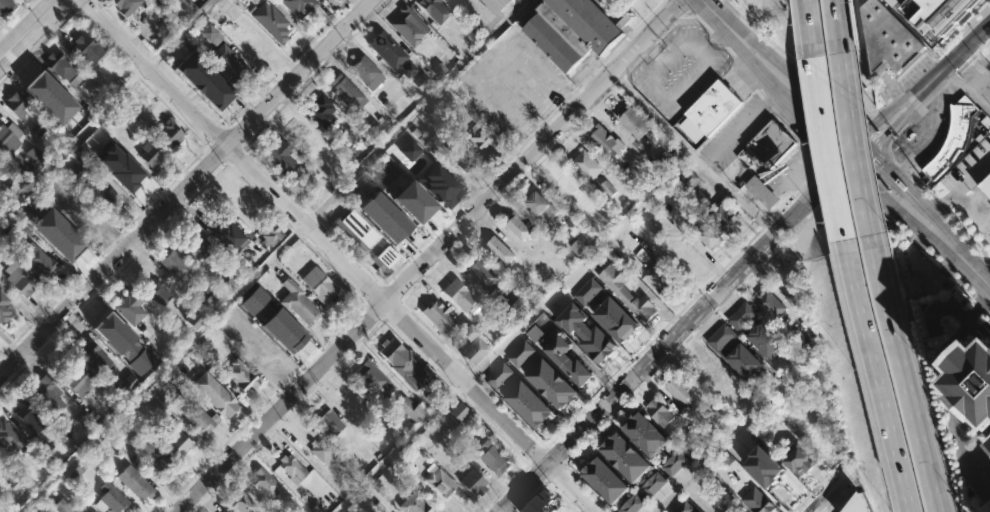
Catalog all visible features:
road: (386, 1)
parking lot: (614, 1)
road: (69, 3)
building: (498, 4)
building: (6, 5)
road: (74, 5)
building: (430, 5)
building: (126, 6)
building: (300, 6)
road: (679, 6)
building: (942, 14)
road: (17, 17)
road: (718, 19)
building: (271, 21)
road: (698, 22)
building: (407, 25)
road: (497, 25)
road: (835, 25)
road: (809, 27)
road: (29, 30)
building: (576, 30)
road: (634, 30)
road: (177, 31)
building: (208, 33)
road: (108, 38)
building: (886, 39)
road: (716, 40)
road: (655, 45)
building: (87, 49)
building: (388, 49)
road: (941, 51)
road: (729, 53)
road: (973, 55)
road: (946, 62)
building: (226, 63)
building: (59, 66)
building: (368, 71)
road: (591, 72)
road: (745, 72)
road: (760, 72)
road: (804, 72)
road: (952, 74)
road: (275, 77)
road: (978, 78)
building: (206, 79)
road: (948, 79)
building: (420, 81)
road: (617, 82)
road: (800, 82)
road: (300, 88)
road: (575, 88)
road: (967, 88)
road: (760, 90)
road: (890, 91)
building: (347, 93)
building: (50, 97)
road: (564, 99)
road: (927, 100)
road: (769, 102)
building: (15, 104)
building: (713, 107)
road: (989, 108)
building: (323, 111)
road: (879, 116)
building: (633, 122)
road: (739, 127)
road: (792, 128)
road: (226, 129)
road: (816, 132)
building: (171, 133)
parking lot: (736, 133)
road: (895, 135)
building: (956, 135)
traffic signals: (858, 136)
road: (872, 136)
building: (10, 137)
building: (483, 137)
road: (219, 138)
road: (232, 138)
road: (879, 138)
road: (926, 138)
building: (605, 141)
road: (851, 142)
building: (770, 143)
road: (209, 145)
road: (241, 145)
road: (825, 146)
traffic signals: (871, 148)
road: (851, 149)
building: (410, 150)
road: (219, 151)
road: (232, 151)
road: (690, 153)
building: (150, 154)
building: (280, 156)
building: (36, 157)
building: (461, 157)
road: (893, 158)
road: (226, 160)
road: (830, 162)
traffic signals: (844, 162)
building: (588, 165)
road: (868, 165)
road: (821, 166)
building: (18, 169)
road: (904, 169)
building: (123, 171)
building: (79, 173)
road: (277, 178)
building: (691, 180)
road: (806, 182)
building: (985, 183)
building: (439, 184)
road: (922, 185)
road: (960, 185)
road: (184, 187)
building: (607, 188)
building: (761, 191)
road: (913, 193)
road: (260, 195)
building: (108, 198)
building: (412, 201)
road: (941, 204)
building: (2, 205)
road: (783, 205)
building: (544, 210)
road: (972, 210)
road: (900, 211)
road: (313, 215)
building: (725, 215)
building: (384, 217)
building: (83, 218)
road: (765, 222)
road: (894, 222)
road: (437, 227)
building: (517, 227)
road: (472, 229)
building: (355, 230)
road: (296, 232)
road: (966, 233)
building: (272, 234)
building: (230, 236)
building: (708, 236)
building: (65, 238)
building: (199, 245)
building: (578, 246)
road: (103, 249)
building: (501, 251)
road: (427, 255)
road: (338, 256)
road: (988, 257)
building: (40, 259)
building: (384, 259)
building: (177, 267)
road: (577, 267)
road: (257, 268)
road: (975, 271)
road: (986, 274)
road: (113, 276)
building: (483, 276)
building: (658, 279)
building: (22, 280)
building: (319, 285)
building: (156, 291)
road: (377, 291)
building: (587, 291)
building: (626, 293)
road: (388, 294)
building: (457, 295)
road: (366, 300)
road: (398, 301)
building: (212, 302)
building: (297, 302)
building: (4, 304)
building: (769, 304)
building: (522, 305)
road: (375, 306)
road: (388, 306)
building: (130, 307)
road: (382, 316)
building: (437, 316)
building: (278, 317)
building: (195, 319)
building: (616, 321)
building: (269, 326)
building: (534, 331)
building: (756, 331)
building: (586, 334)
road: (671, 337)
building: (124, 343)
road: (681, 343)
building: (471, 345)
building: (736, 353)
building: (520, 354)
building: (94, 357)
building: (565, 360)
building: (405, 364)
road: (621, 367)
road: (903, 372)
road: (292, 374)
road: (876, 375)
building: (241, 376)
road: (474, 376)
building: (499, 376)
building: (973, 376)
road: (321, 380)
building: (375, 380)
building: (127, 383)
building: (84, 384)
building: (551, 385)
building: (434, 386)
road: (455, 390)
building: (682, 391)
building: (214, 394)
road: (944, 395)
building: (46, 397)
building: (528, 406)
building: (412, 409)
building: (458, 411)
building: (659, 412)
building: (31, 418)
building: (201, 419)
building: (329, 422)
building: (644, 435)
building: (9, 437)
building: (989, 439)
building: (821, 440)
building: (178, 441)
road: (544, 445)
building: (45, 446)
road: (400, 446)
road: (516, 451)
building: (321, 452)
building: (153, 454)
road: (537, 455)
road: (553, 455)
building: (493, 457)
building: (626, 458)
building: (798, 461)
road: (527, 463)
road: (563, 463)
building: (673, 463)
building: (769, 463)
building: (291, 468)
road: (693, 469)
road: (537, 471)
road: (553, 471)
building: (761, 475)
road: (544, 481)
building: (604, 481)
building: (264, 482)
building: (472, 482)
building: (136, 483)
building: (439, 483)
building: (652, 485)
road: (819, 486)
road: (832, 491)
road: (840, 496)
building: (110, 499)
building: (756, 501)
building: (240, 503)
building: (413, 503)
building: (631, 504)
building: (859, 505)
building: (63, 506)
building: (684, 507)
building: (986, 508)
building: (44, 509)
building: (93, 511)

